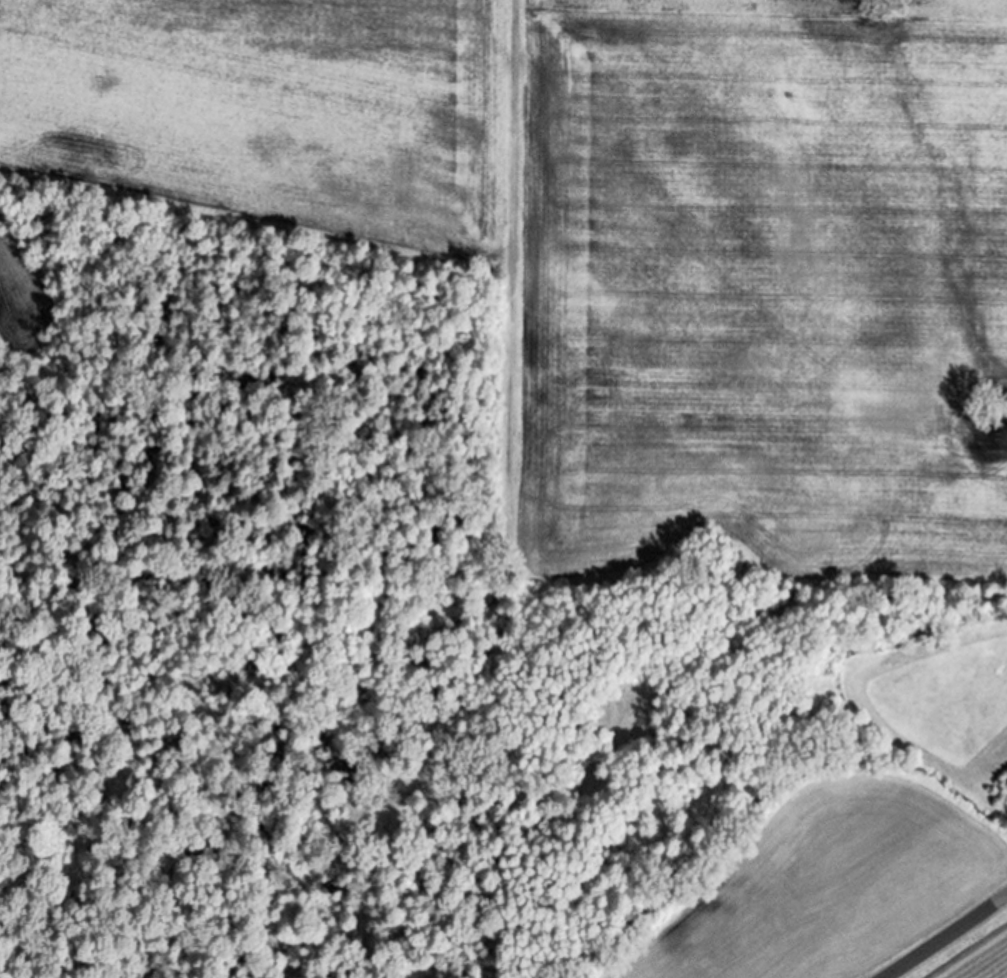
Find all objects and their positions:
road: (512, 279)
road: (947, 937)

